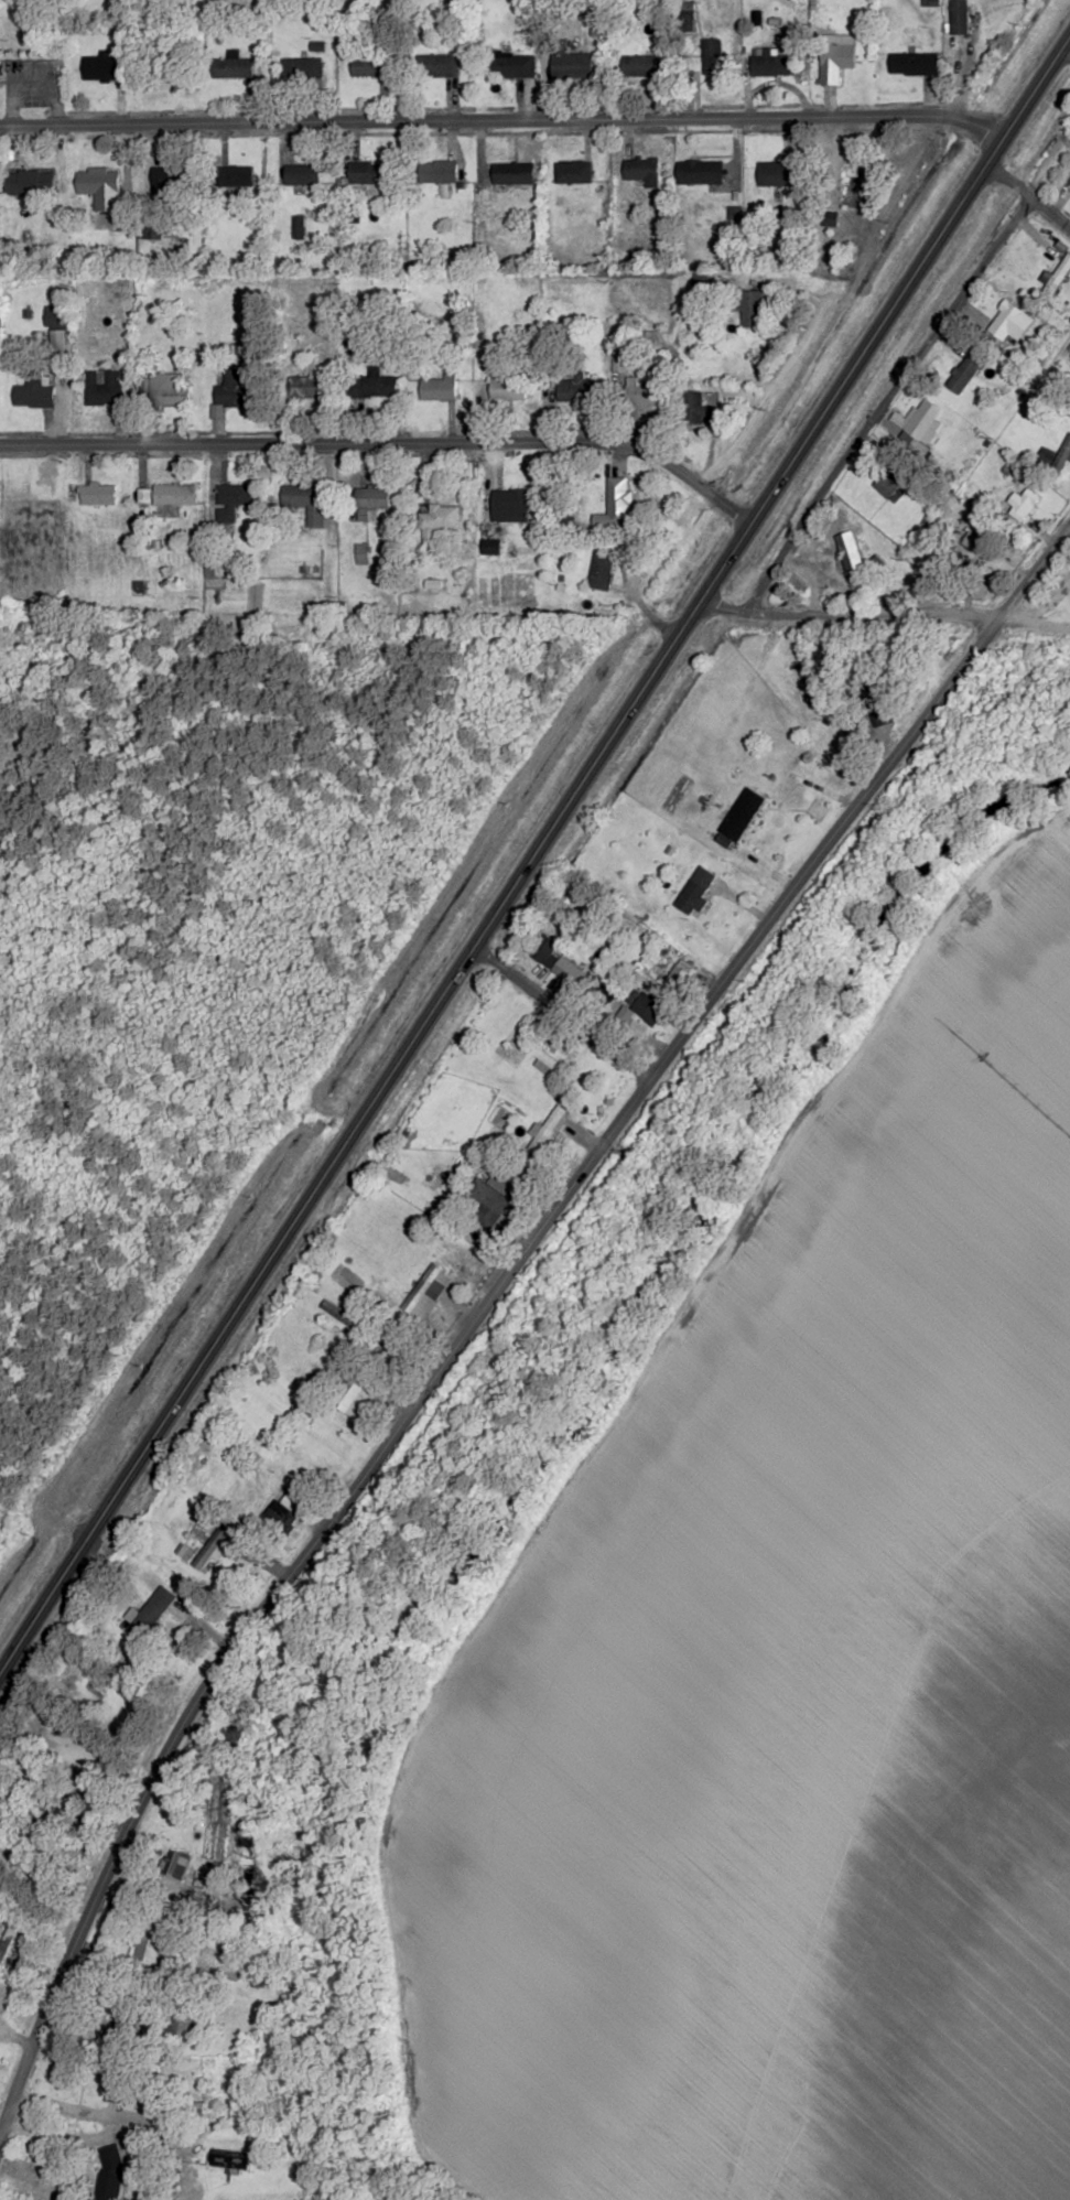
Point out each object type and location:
building: (959, 18)
building: (712, 55)
building: (836, 57)
building: (914, 64)
building: (511, 65)
building: (575, 65)
building: (771, 65)
building: (369, 66)
building: (437, 66)
building: (641, 66)
building: (99, 67)
building: (234, 67)
building: (303, 68)
building: (0, 82)
road: (502, 121)
building: (640, 170)
building: (437, 172)
building: (573, 172)
building: (700, 172)
building: (368, 173)
building: (512, 174)
building: (770, 174)
building: (302, 175)
building: (235, 176)
building: (29, 183)
building: (166, 185)
building: (104, 190)
road: (1026, 201)
building: (106, 222)
building: (1058, 277)
building: (748, 308)
building: (55, 315)
building: (1009, 322)
building: (57, 339)
building: (963, 375)
building: (372, 386)
building: (102, 387)
building: (305, 388)
building: (437, 388)
building: (507, 389)
building: (579, 389)
building: (167, 390)
building: (231, 392)
building: (33, 393)
building: (645, 395)
building: (696, 410)
road: (896, 412)
building: (923, 419)
road: (387, 443)
building: (889, 488)
building: (98, 495)
building: (174, 495)
building: (371, 498)
building: (231, 500)
building: (305, 502)
building: (619, 502)
building: (509, 505)
building: (1023, 505)
building: (439, 517)
building: (490, 547)
building: (849, 556)
building: (601, 571)
road: (726, 610)
road: (876, 618)
road: (1034, 621)
building: (882, 711)
building: (749, 818)
road: (536, 851)
building: (691, 897)
building: (650, 1009)
road: (565, 1012)
building: (536, 1053)
building: (548, 1130)
building: (422, 1287)
road: (494, 1294)
building: (352, 1395)
building: (284, 1513)
building: (212, 1547)
road: (164, 1578)
building: (145, 1620)
building: (7, 1940)
building: (152, 1940)
building: (259, 1980)
building: (118, 2025)
building: (182, 2026)
road: (12, 2039)
building: (115, 2082)
building: (229, 2160)
building: (110, 2172)

